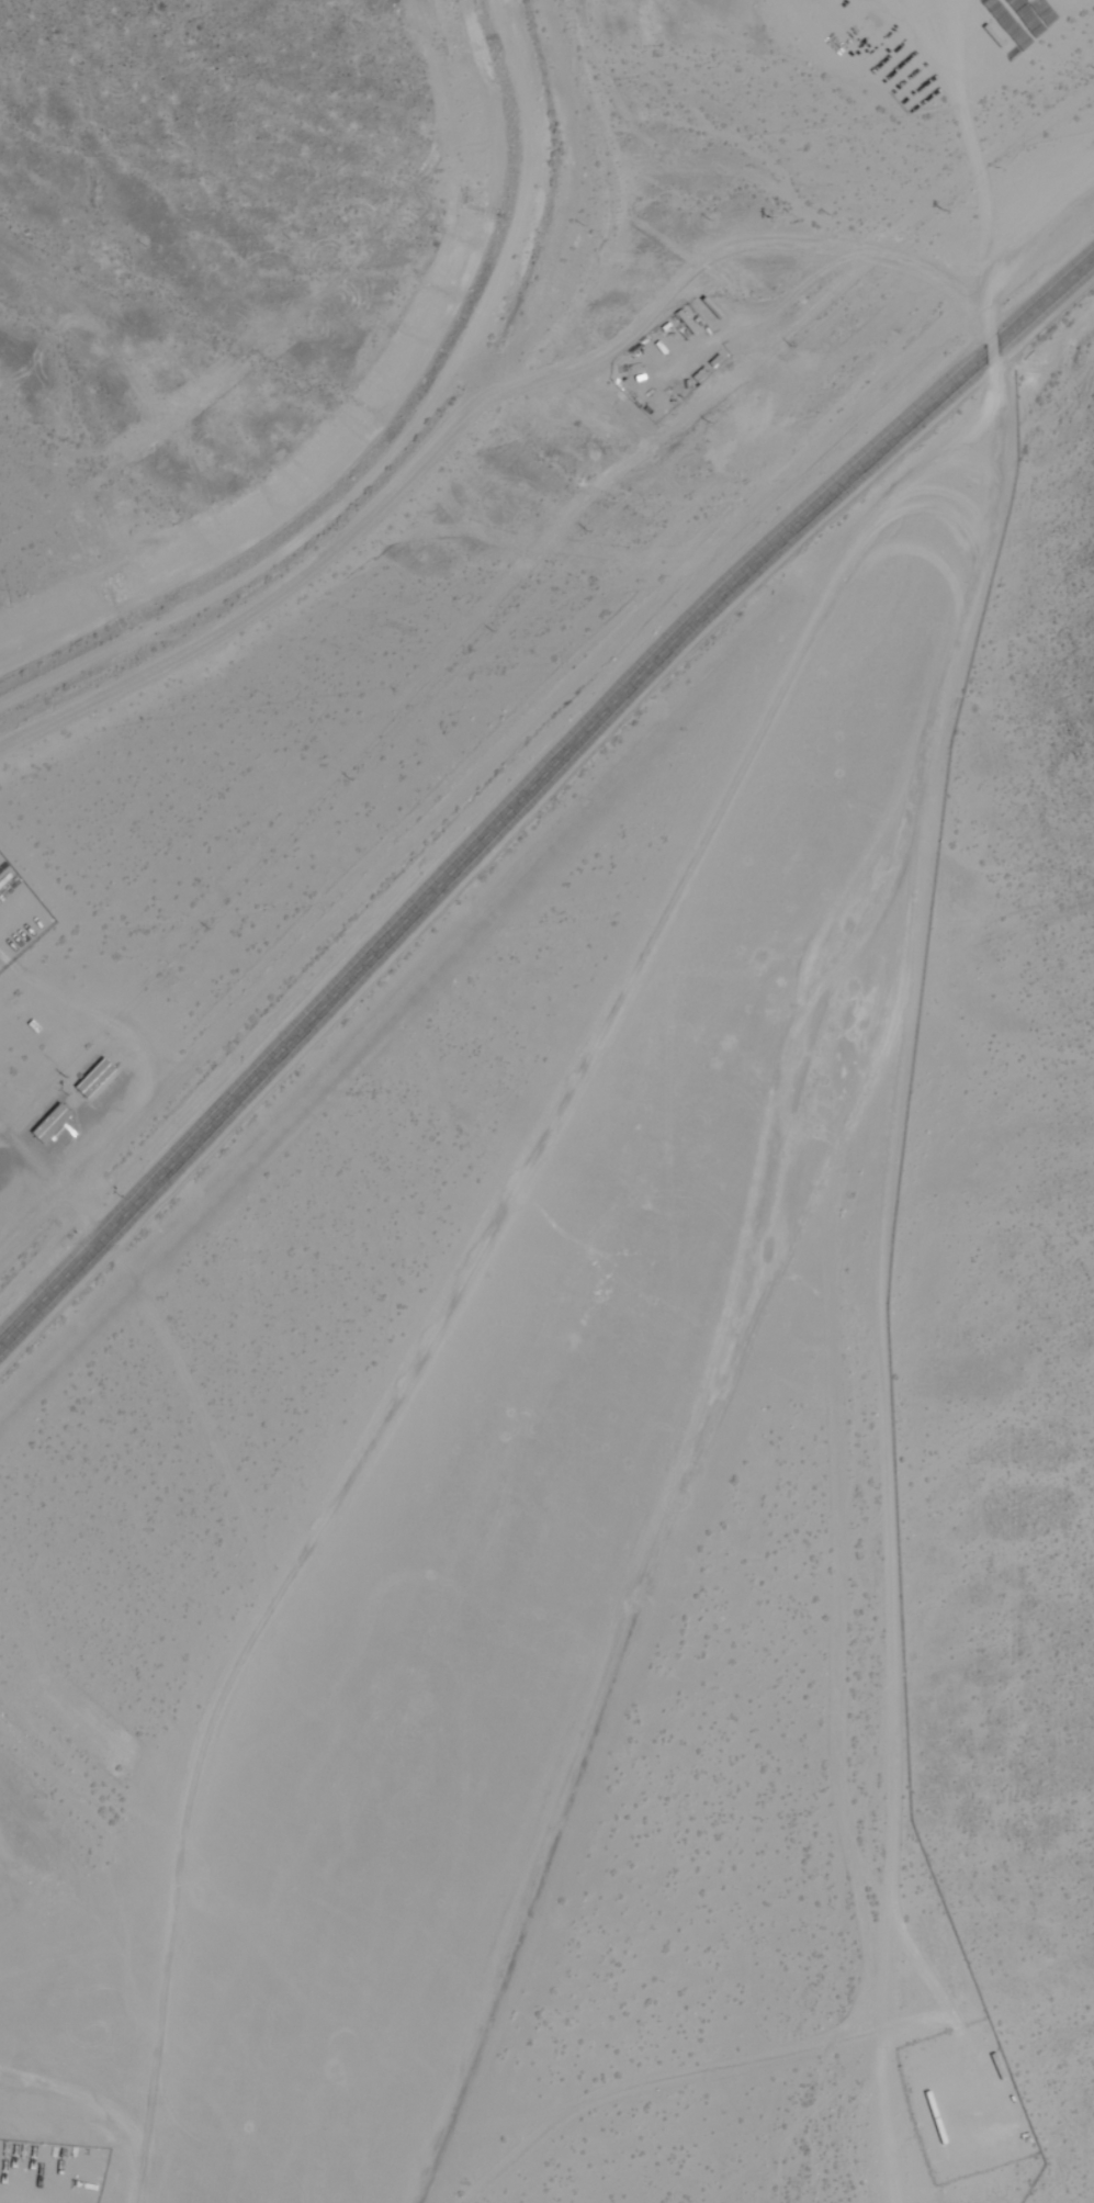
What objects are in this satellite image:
road: (945, 509)
road: (532, 786)
road: (135, 1059)
building: (95, 1079)
building: (50, 1121)
road: (53, 1180)
road: (482, 1240)
road: (742, 1316)
road: (200, 1409)

